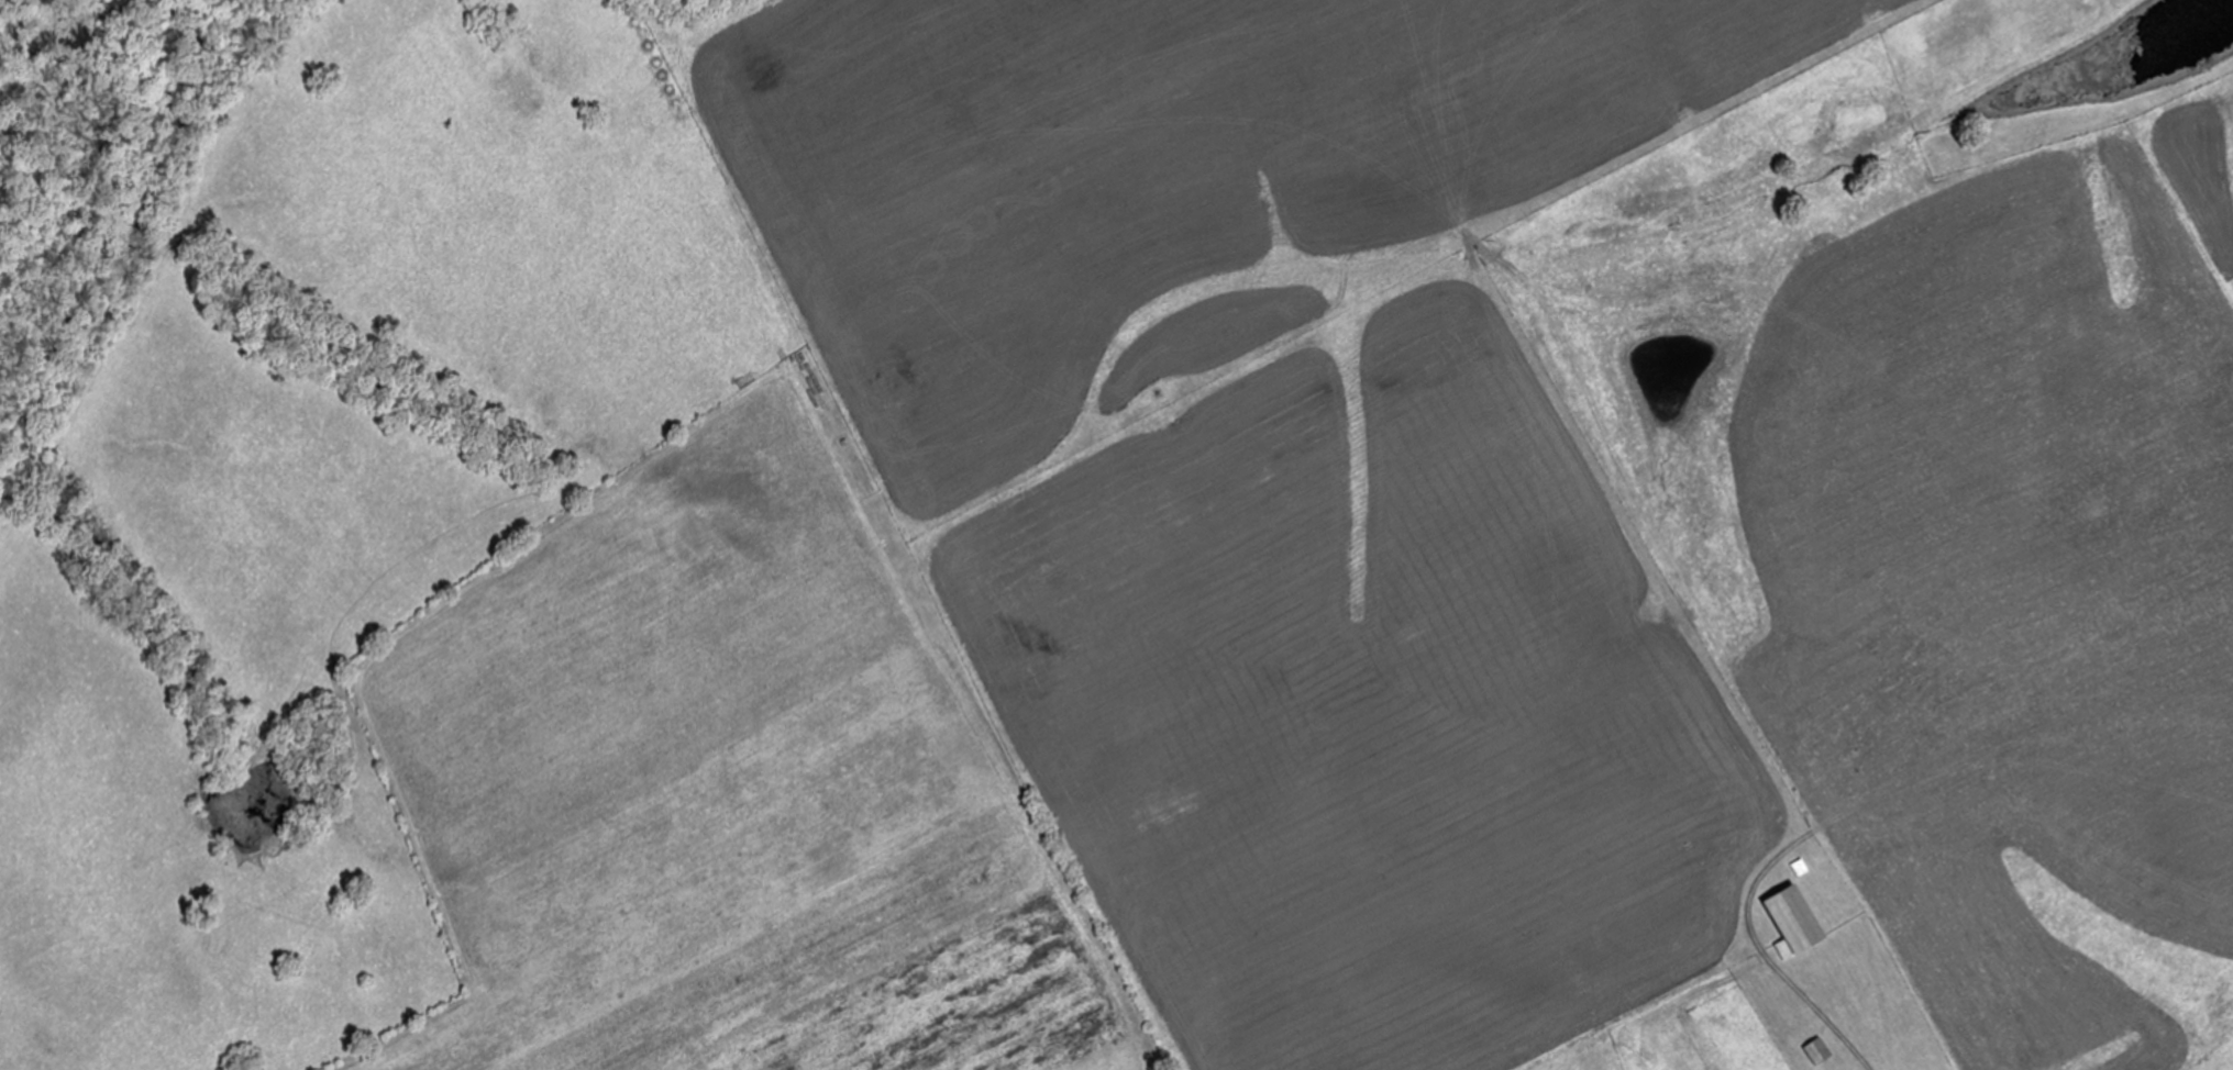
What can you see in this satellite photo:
building: (1794, 923)
building: (1819, 1051)

